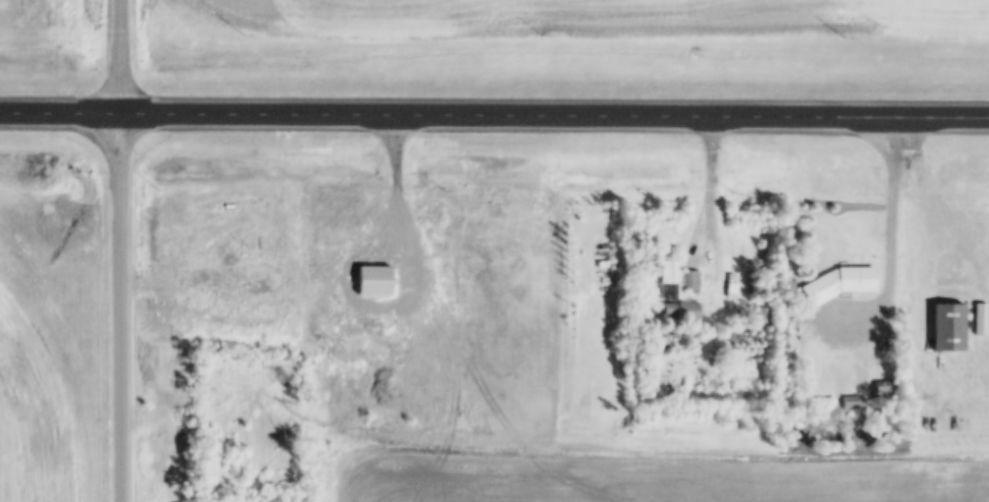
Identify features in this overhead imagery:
road: (494, 112)
road: (405, 201)
road: (712, 209)
road: (936, 225)
road: (122, 251)
building: (376, 279)
building: (680, 280)
building: (845, 284)
building: (686, 310)
building: (954, 326)

